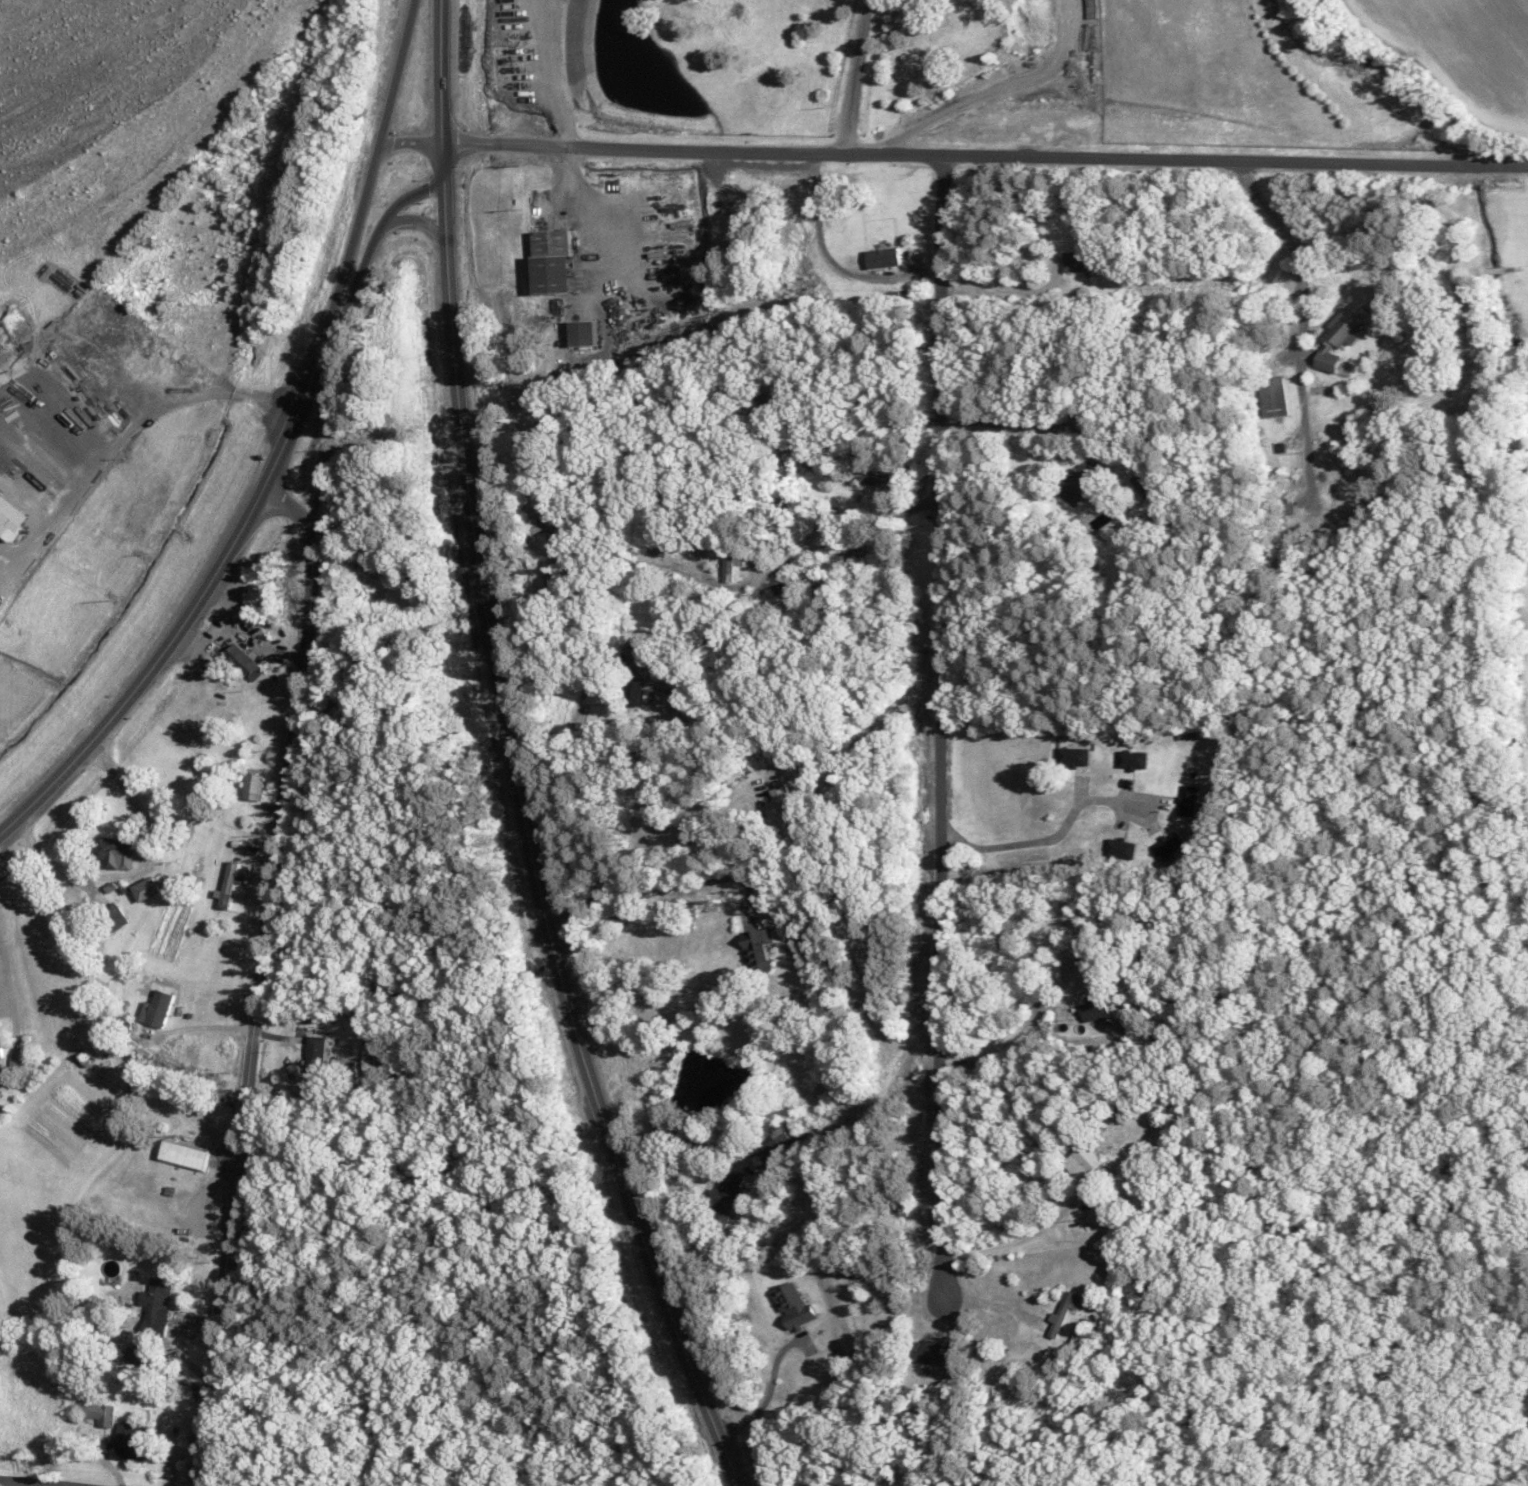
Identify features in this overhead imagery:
road: (552, 74)
road: (855, 77)
road: (443, 88)
road: (993, 89)
road: (410, 142)
road: (985, 156)
road: (377, 158)
road: (419, 219)
road: (379, 236)
building: (880, 256)
building: (550, 260)
building: (1086, 260)
road: (830, 261)
road: (977, 273)
road: (1297, 326)
building: (582, 333)
building: (1341, 334)
building: (97, 367)
building: (1274, 395)
road: (1018, 426)
road: (127, 436)
road: (870, 444)
building: (1083, 483)
building: (546, 524)
building: (672, 544)
building: (731, 562)
road: (759, 578)
building: (553, 588)
building: (812, 589)
road: (201, 596)
road: (716, 629)
building: (243, 661)
building: (635, 693)
building: (674, 698)
road: (940, 731)
building: (1074, 756)
building: (1133, 759)
building: (254, 784)
building: (1189, 797)
building: (784, 806)
road: (1055, 834)
road: (648, 838)
building: (1168, 843)
road: (530, 845)
building: (1121, 847)
building: (115, 852)
road: (138, 872)
building: (230, 885)
building: (145, 890)
road: (668, 890)
building: (114, 916)
building: (757, 949)
building: (866, 954)
road: (261, 976)
road: (8, 1000)
building: (157, 1008)
building: (1095, 1008)
road: (195, 1028)
road: (1020, 1028)
building: (0, 1048)
building: (315, 1053)
road: (682, 1138)
building: (773, 1139)
building: (183, 1154)
building: (1082, 1161)
building: (724, 1197)
road: (1024, 1237)
building: (794, 1305)
building: (156, 1306)
building: (1064, 1311)
building: (931, 1352)
road: (770, 1391)
building: (99, 1413)
building: (130, 1442)
road: (28, 1483)

